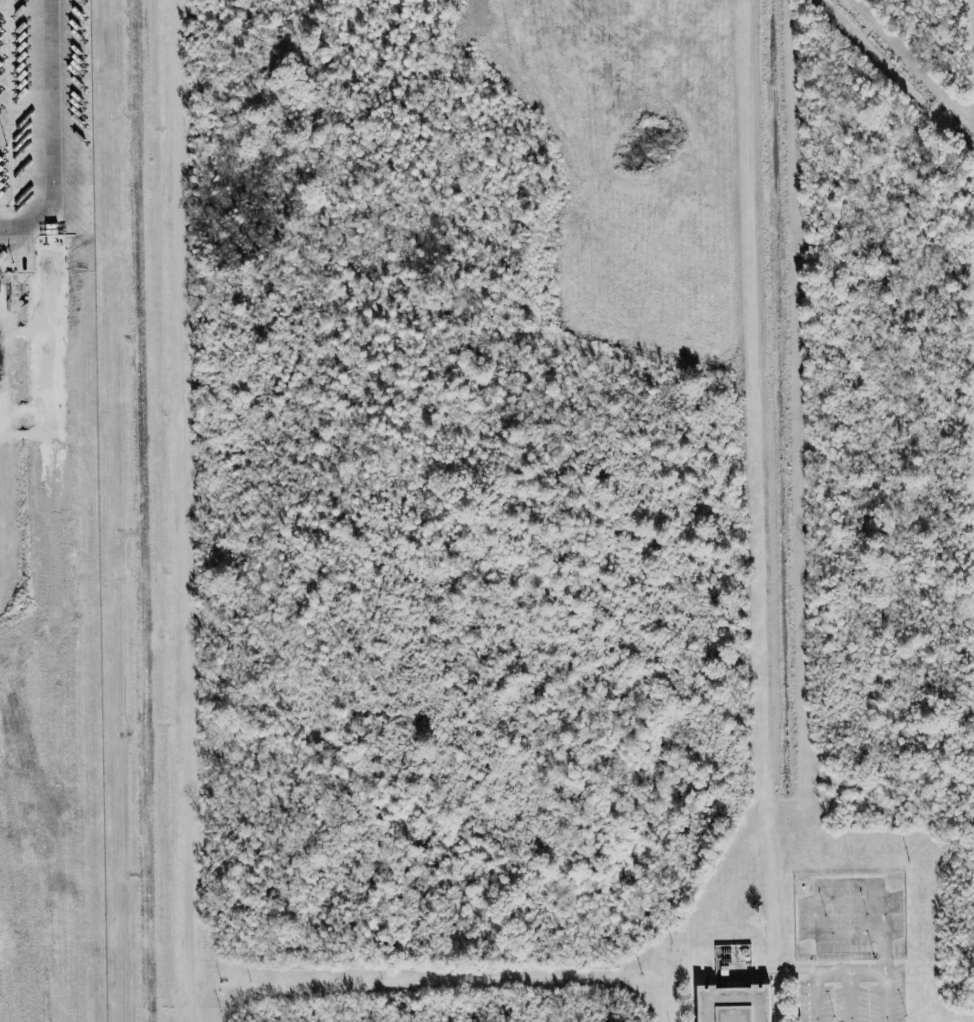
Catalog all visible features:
road: (51, 131)
building: (51, 471)
building: (737, 1003)

